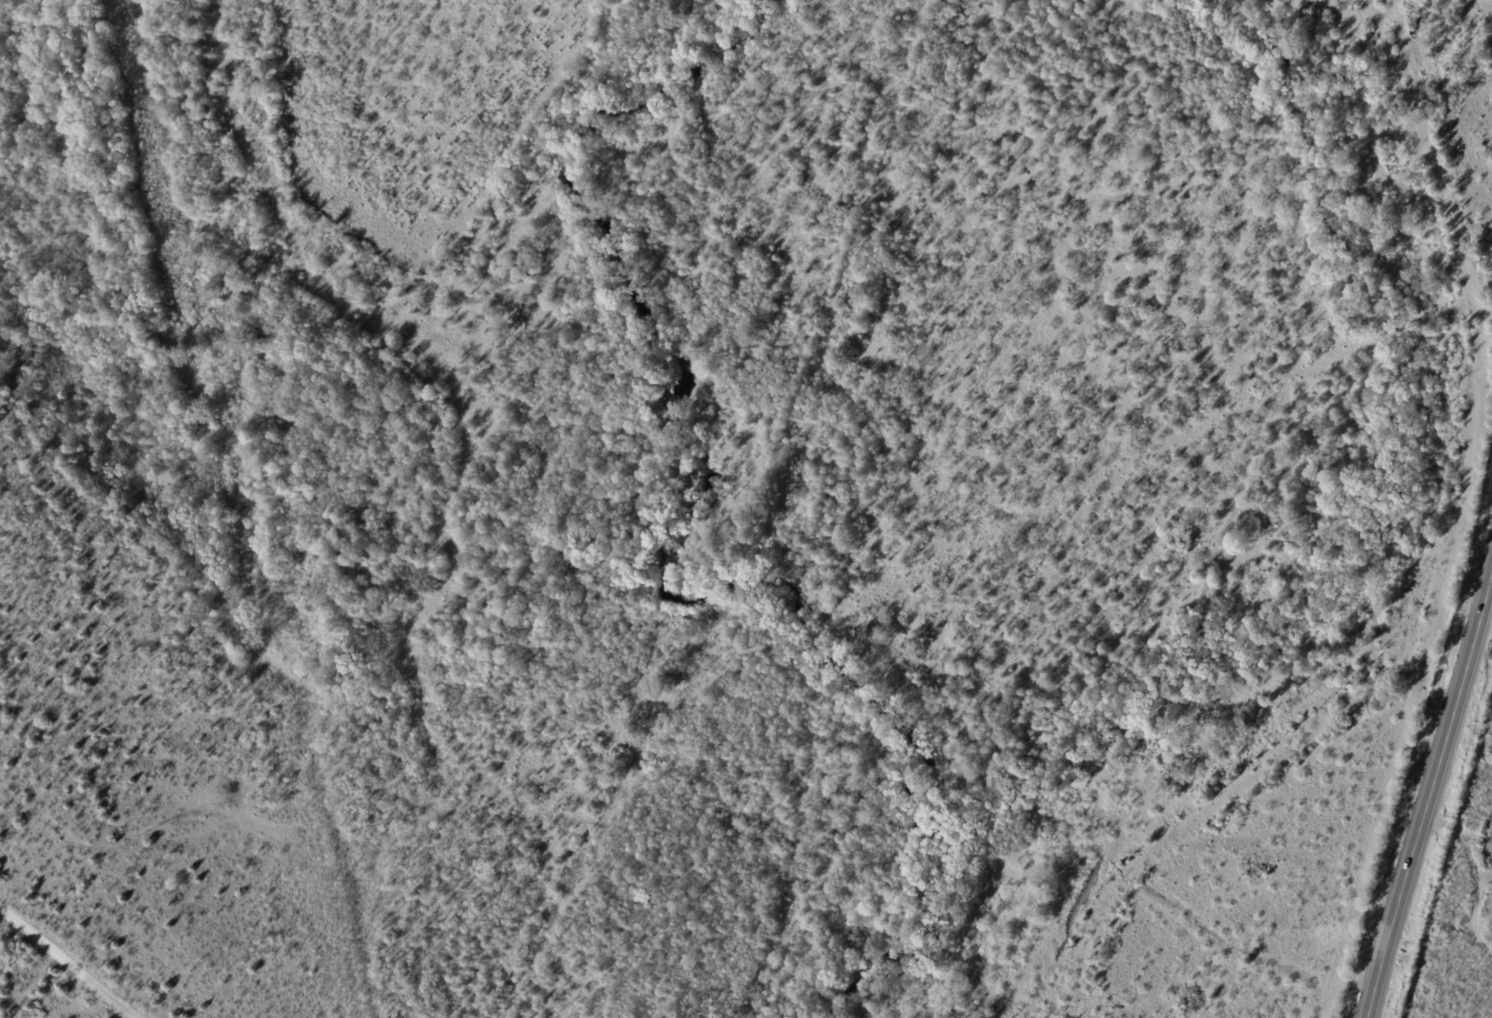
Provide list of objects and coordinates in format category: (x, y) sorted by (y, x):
road: (1482, 600)
road: (1418, 828)
road: (70, 963)

